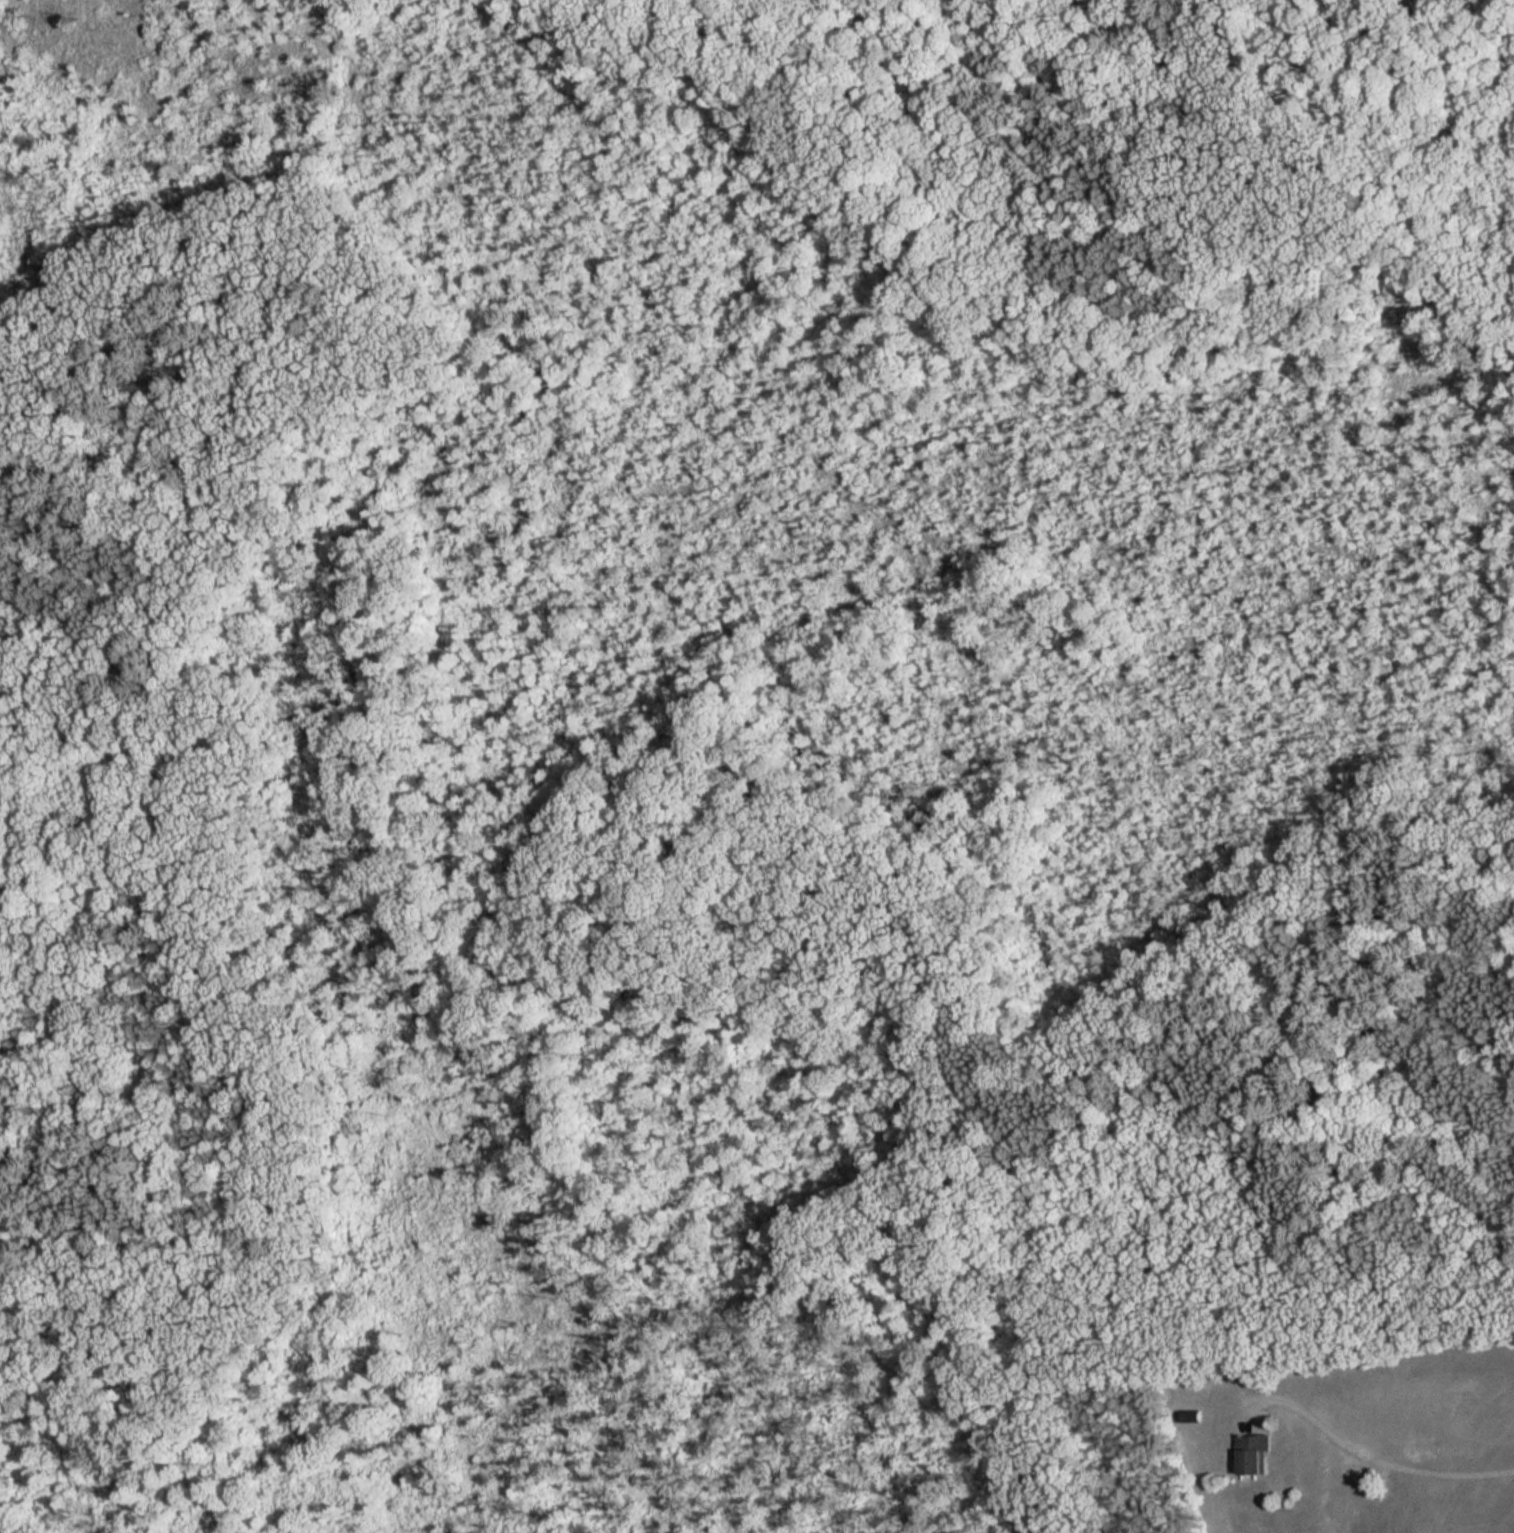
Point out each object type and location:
road: (1263, 178)
road: (1191, 208)
park: (732, 727)
road: (1366, 1449)
building: (1253, 1454)

